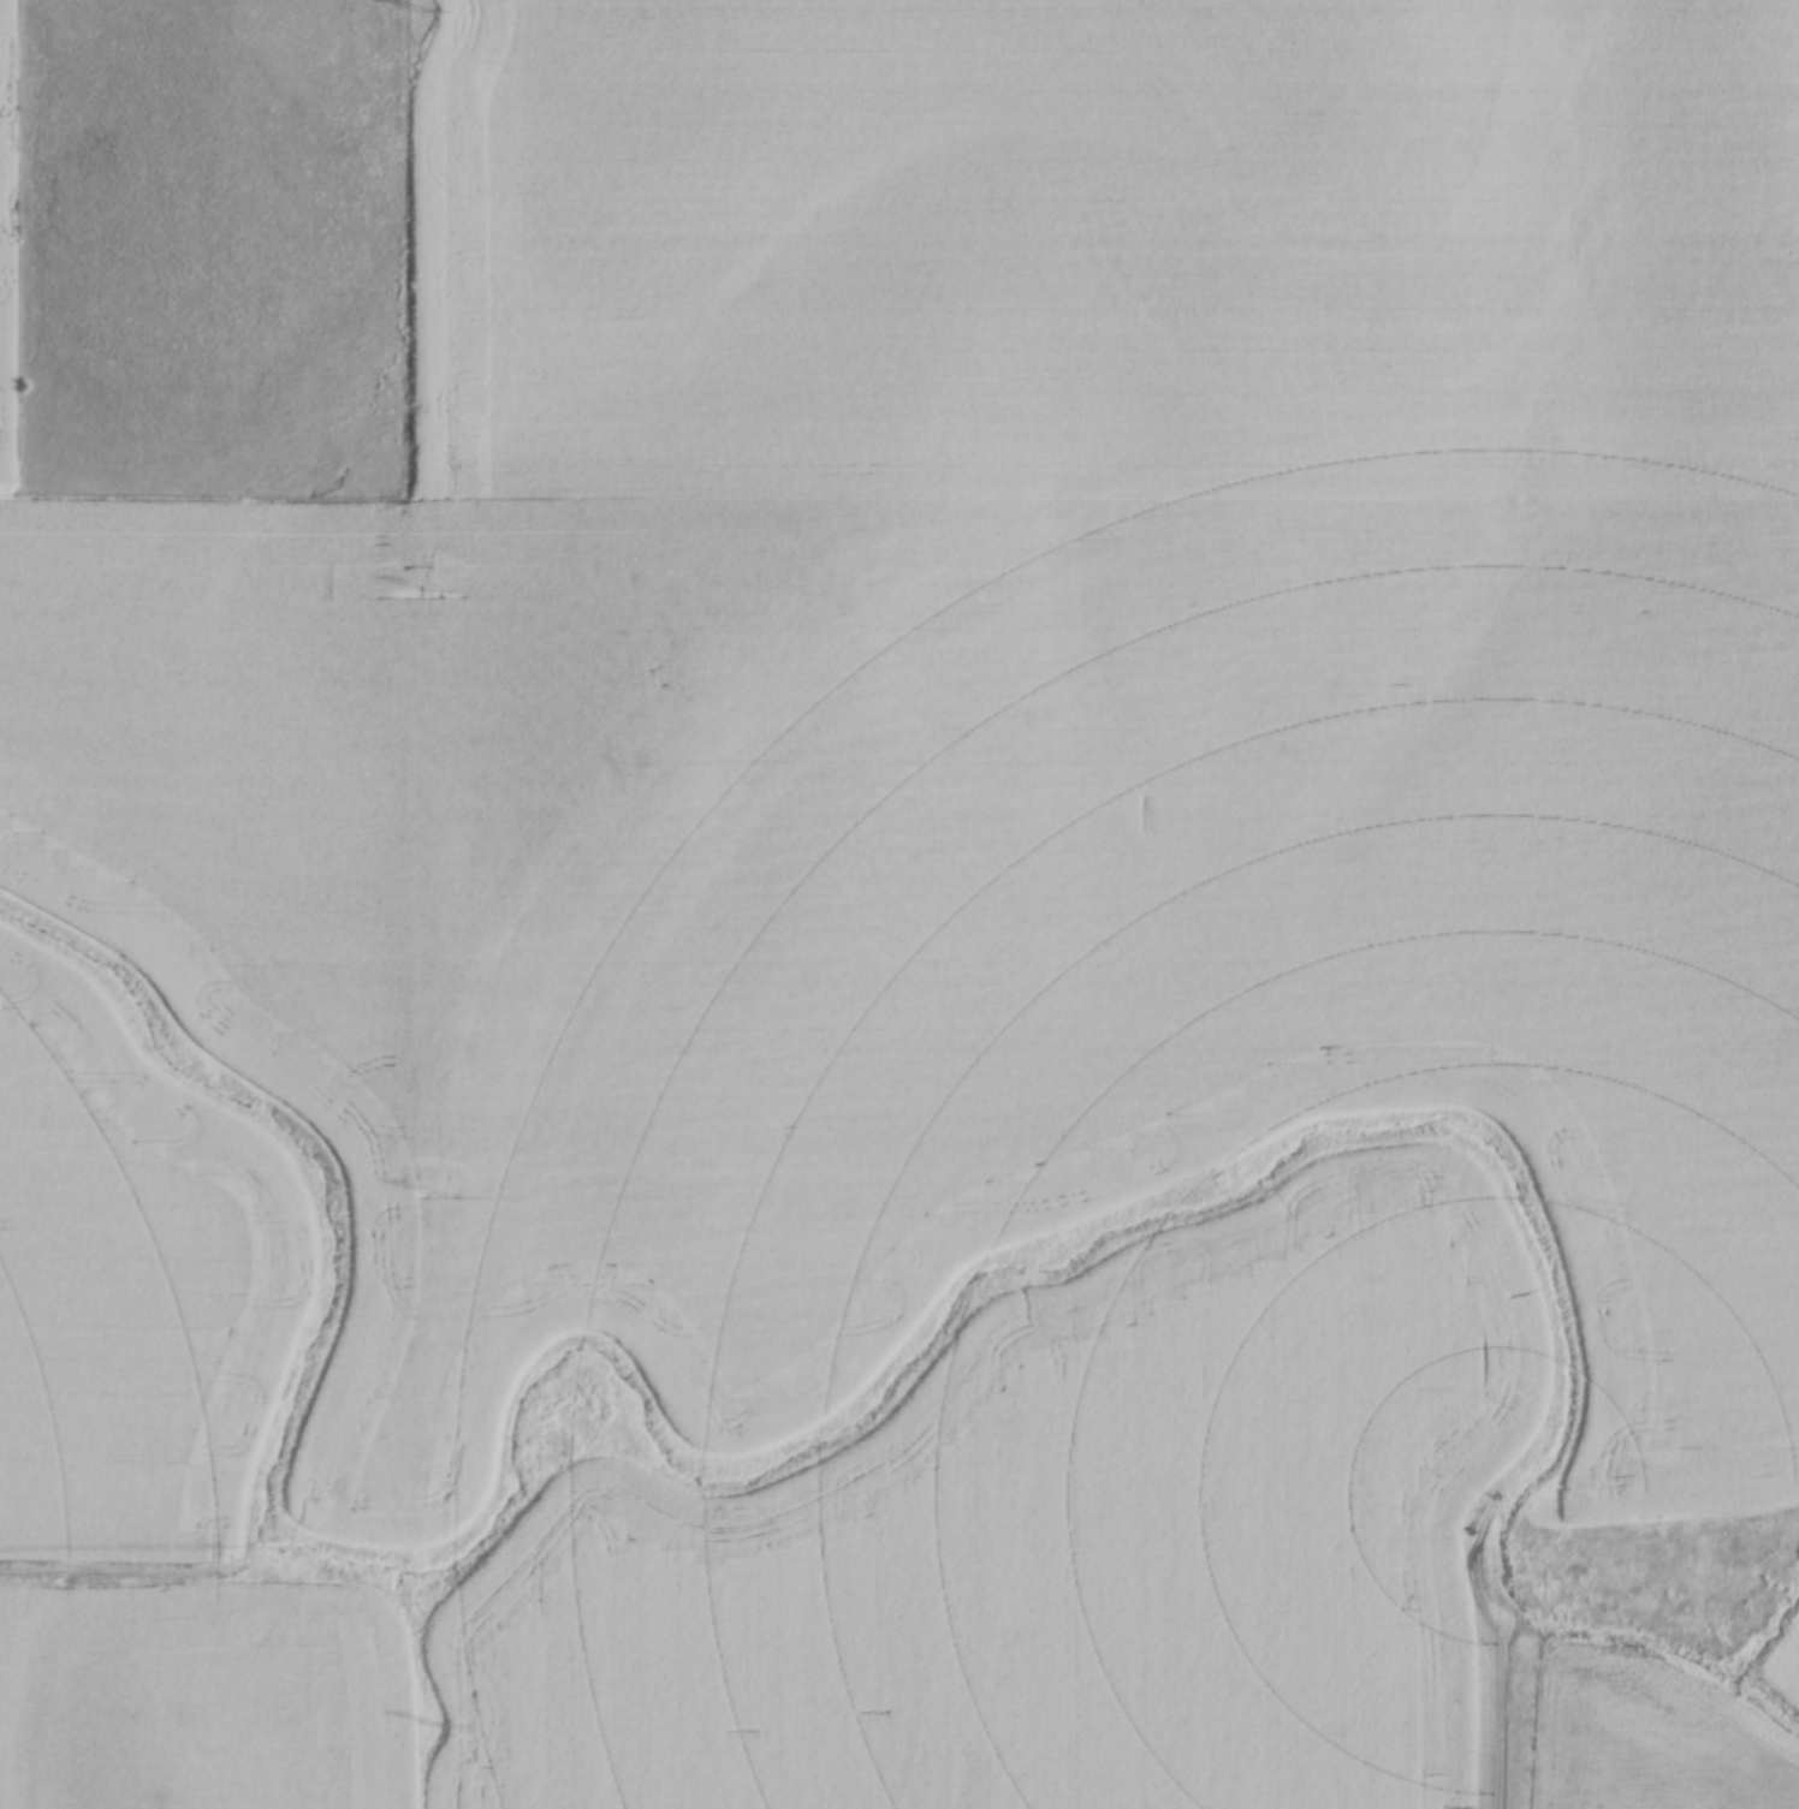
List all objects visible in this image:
power tower: (428, 12)
power tower: (432, 590)
power tower: (437, 1194)
power tower: (440, 1725)

